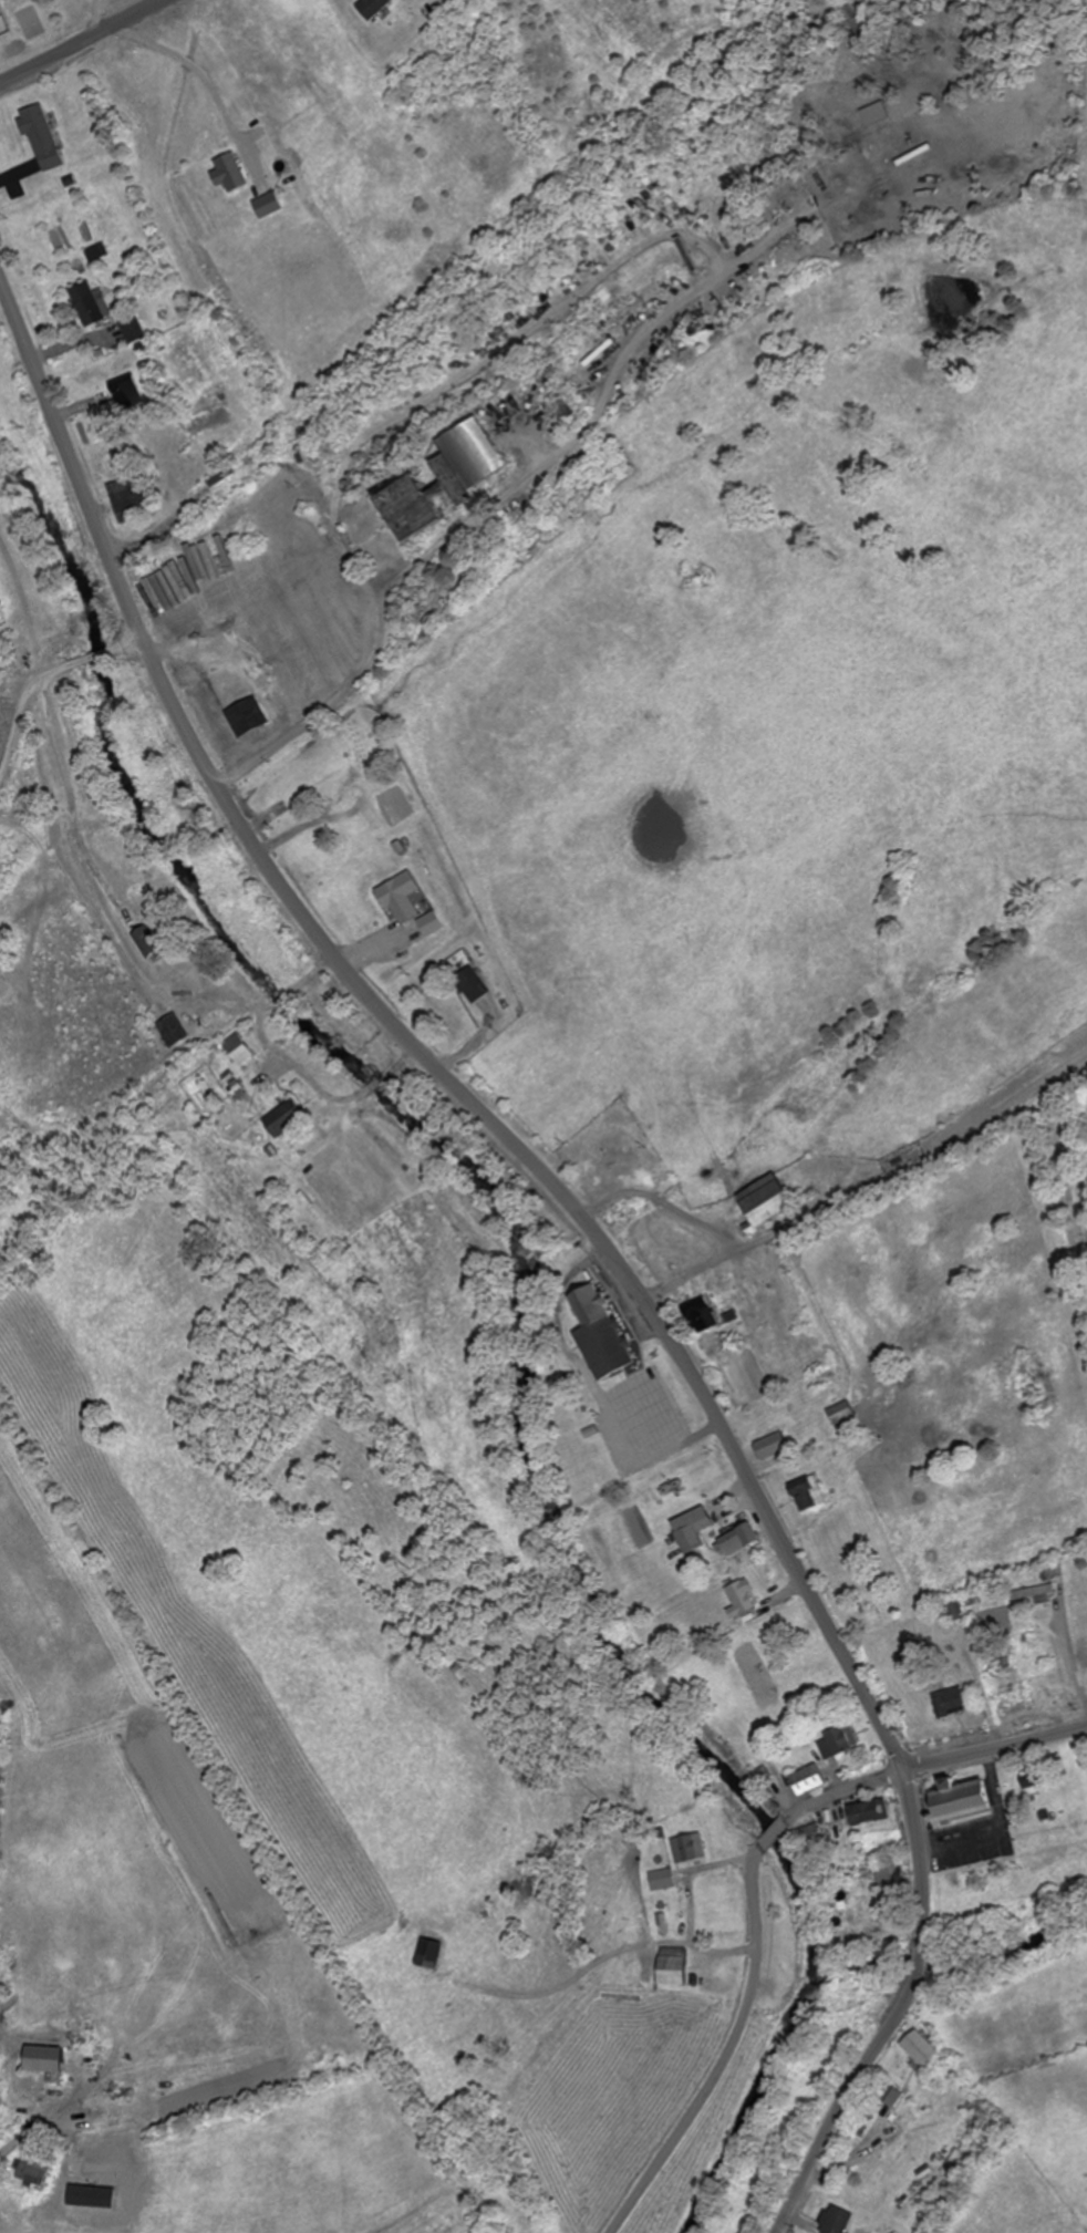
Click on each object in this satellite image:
building: (373, 8)
road: (84, 43)
building: (40, 136)
building: (231, 170)
building: (269, 204)
building: (87, 303)
building: (131, 328)
building: (127, 392)
building: (452, 478)
building: (132, 497)
road: (345, 499)
building: (246, 716)
building: (358, 744)
building: (386, 752)
building: (401, 897)
building: (429, 923)
building: (149, 940)
building: (472, 984)
building: (174, 1030)
road: (414, 1046)
building: (240, 1048)
building: (286, 1118)
building: (766, 1200)
building: (701, 1315)
building: (602, 1334)
building: (841, 1414)
building: (772, 1446)
building: (808, 1493)
building: (693, 1529)
building: (739, 1540)
building: (1036, 1593)
building: (743, 1598)
building: (955, 1613)
building: (951, 1703)
building: (839, 1743)
road: (994, 1748)
building: (809, 1780)
building: (1032, 1782)
building: (963, 1801)
building: (871, 1813)
building: (811, 1834)
building: (690, 1849)
building: (890, 1878)
building: (663, 1880)
building: (429, 1955)
building: (673, 1966)
road: (754, 1976)
road: (898, 2014)
building: (921, 2048)
building: (45, 2061)
building: (893, 2094)
building: (35, 2172)
building: (837, 2221)

